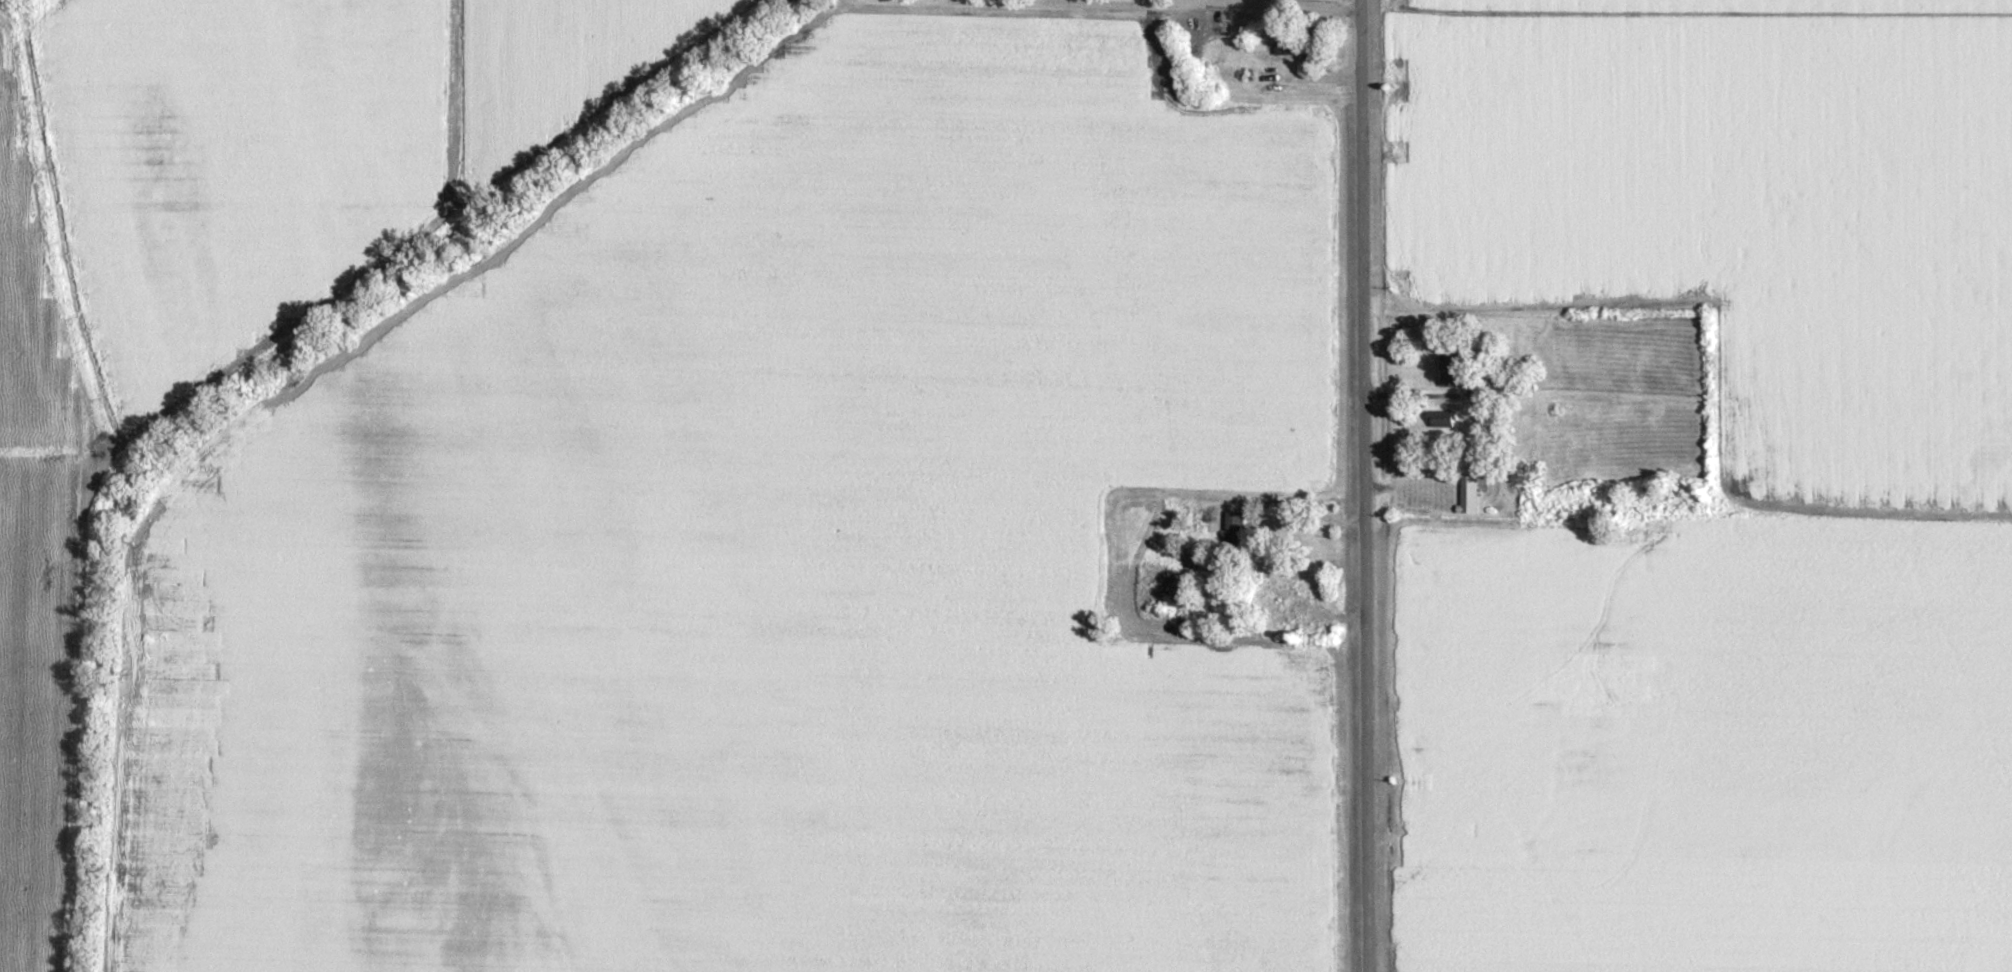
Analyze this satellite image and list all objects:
building: (1283, 49)
building: (1453, 370)
building: (1441, 423)
road: (1364, 485)
building: (1467, 497)
building: (1192, 526)
building: (1232, 536)

